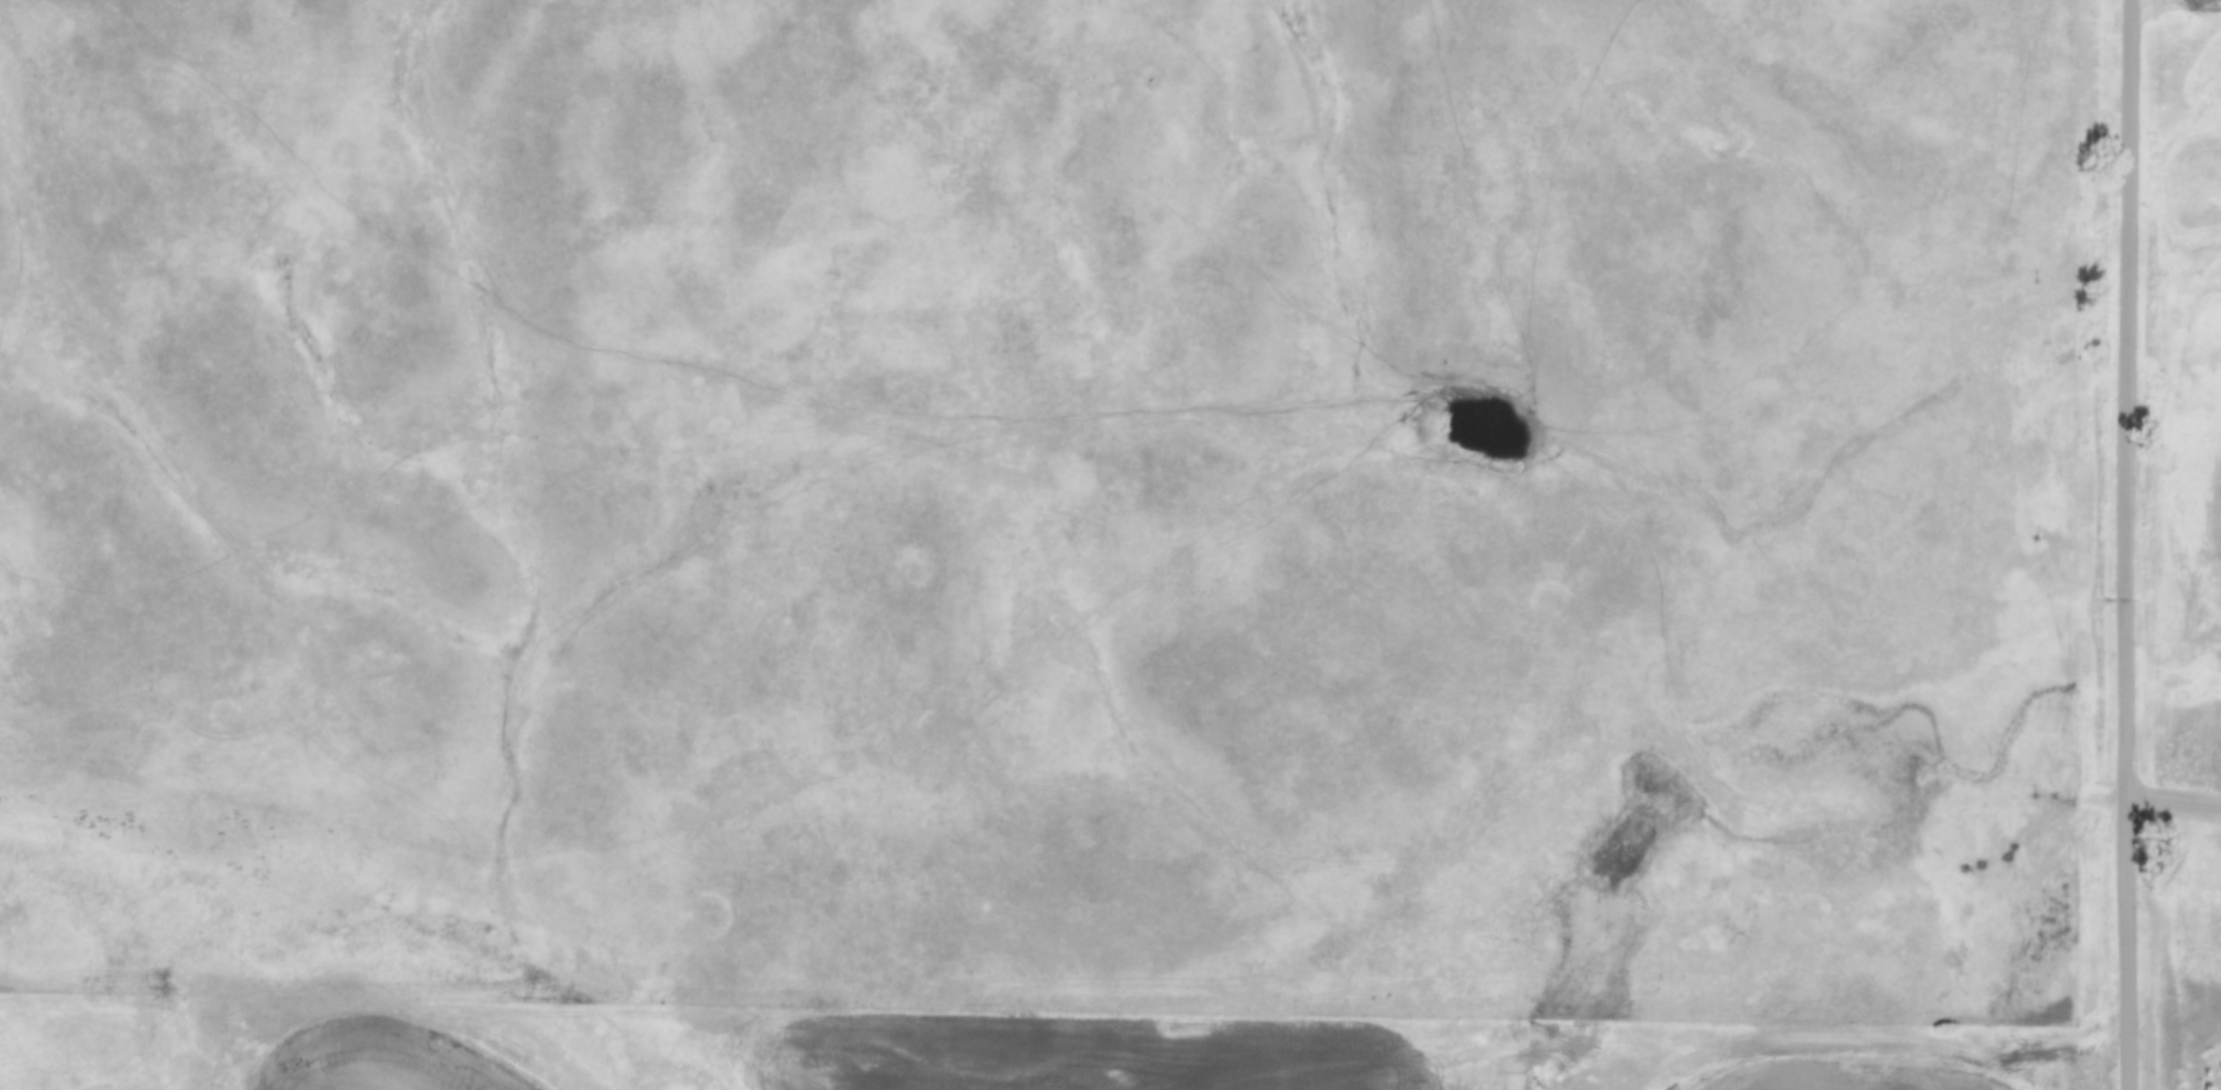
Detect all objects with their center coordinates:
road: (2129, 544)
road: (2174, 804)

